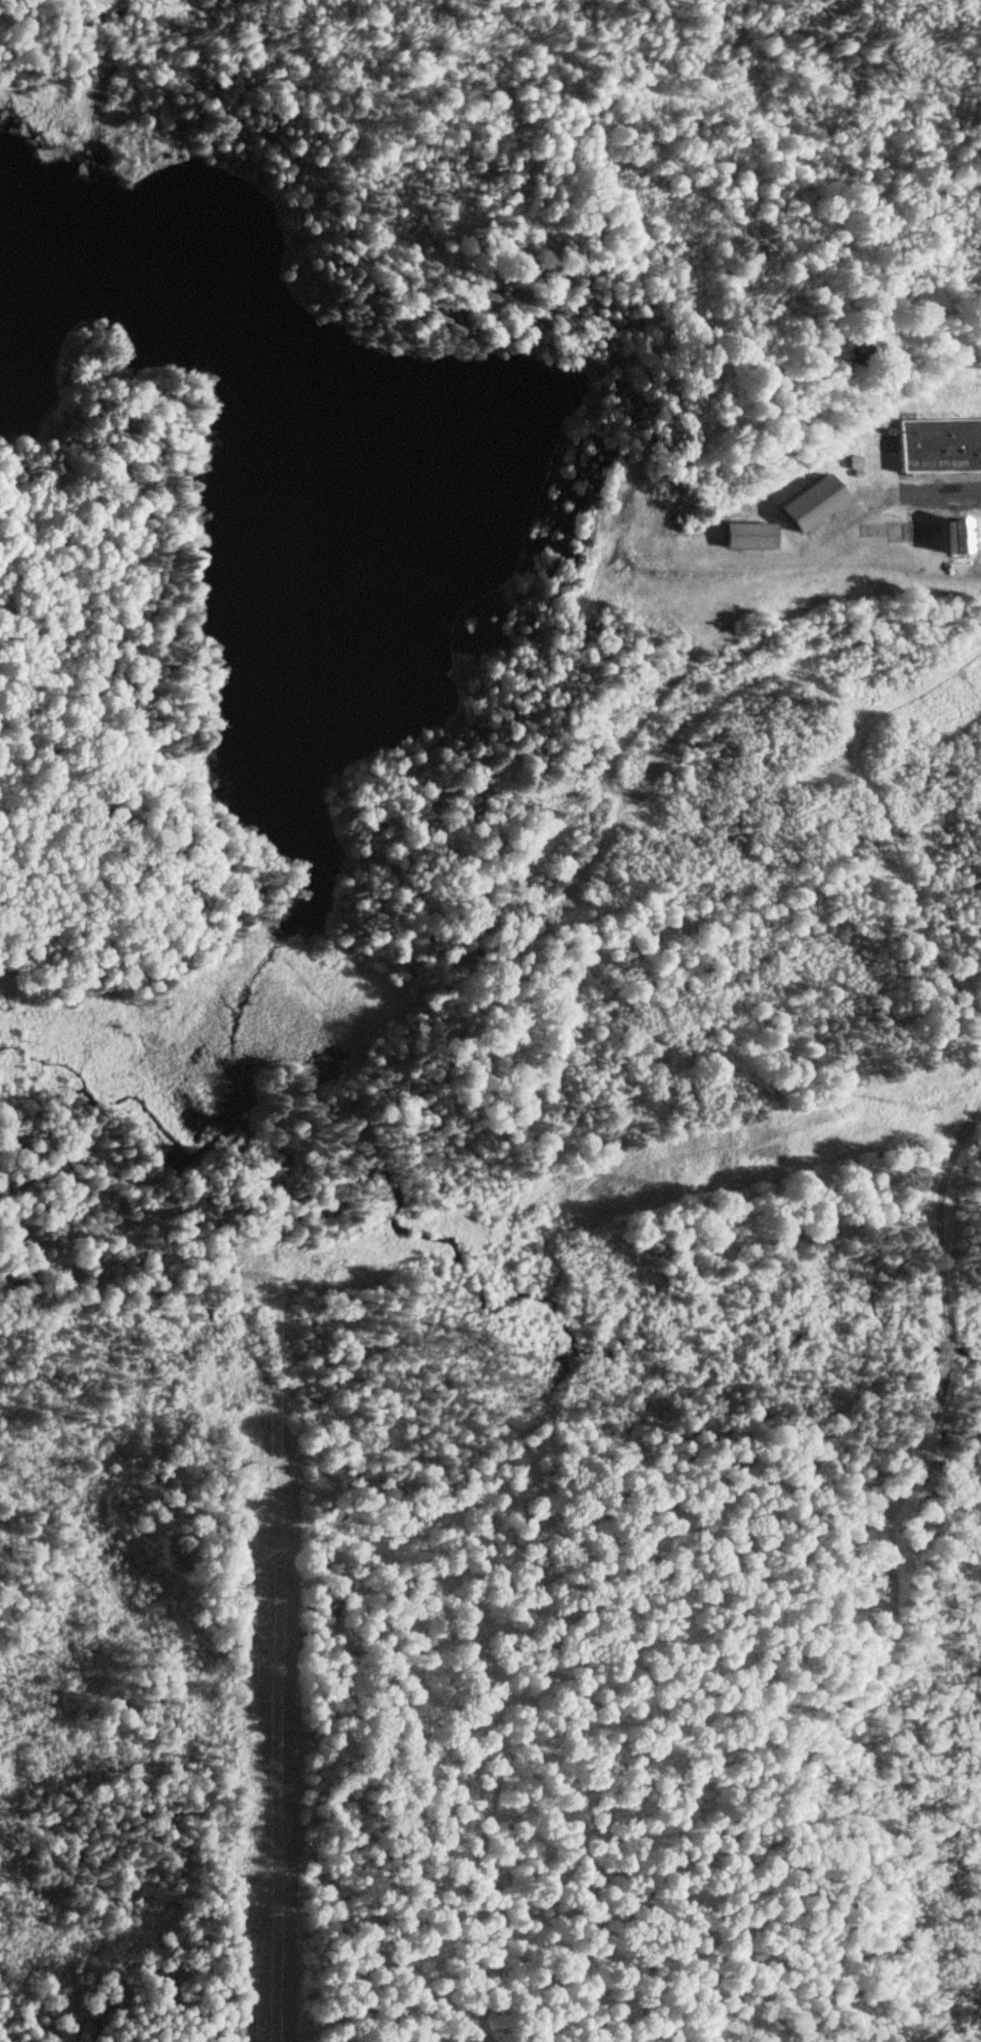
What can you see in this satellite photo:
road: (676, 129)
building: (938, 448)
building: (809, 508)
building: (953, 538)
building: (749, 539)
power tower: (920, 1104)
power tower: (640, 1181)
power tower: (257, 1278)
power tower: (265, 1594)
power tower: (270, 1919)

